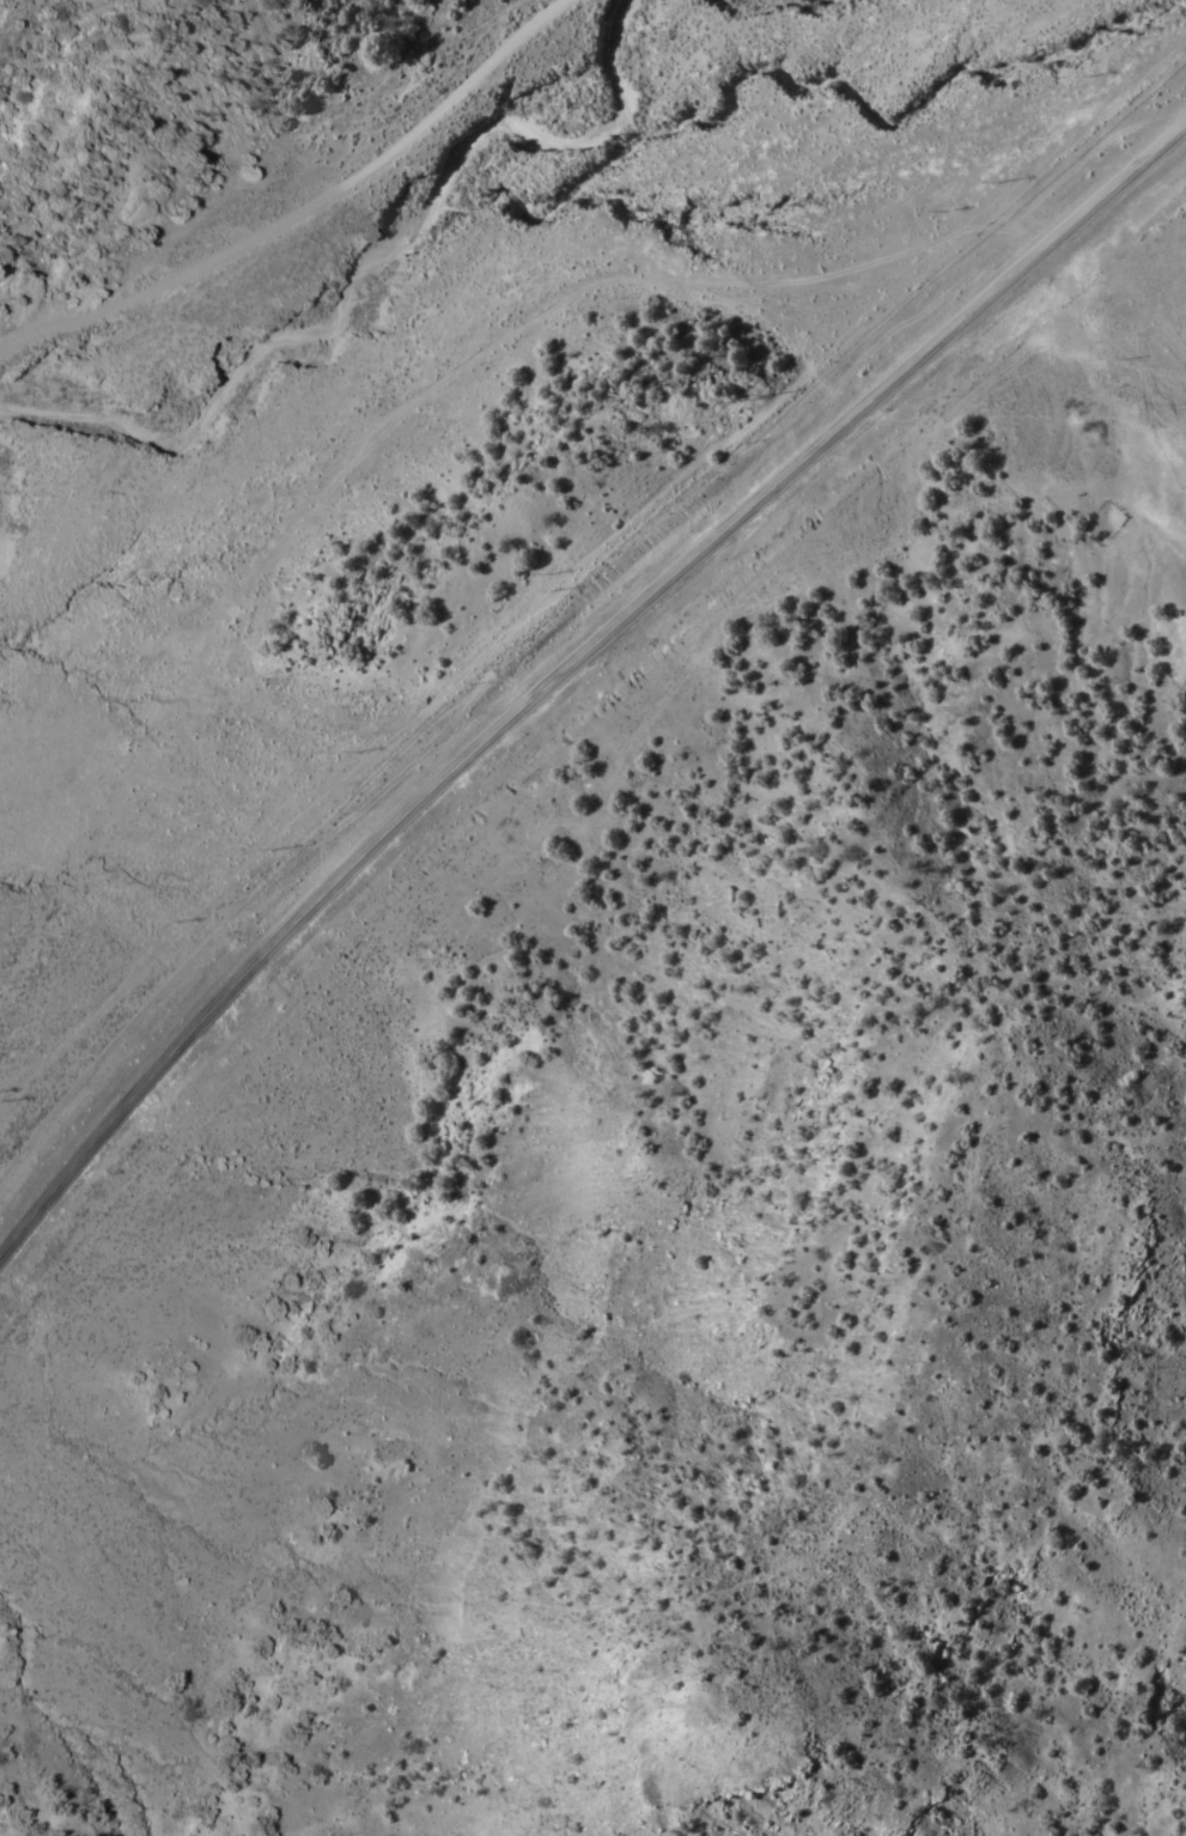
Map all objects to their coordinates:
road: (278, 184)
road: (577, 638)

